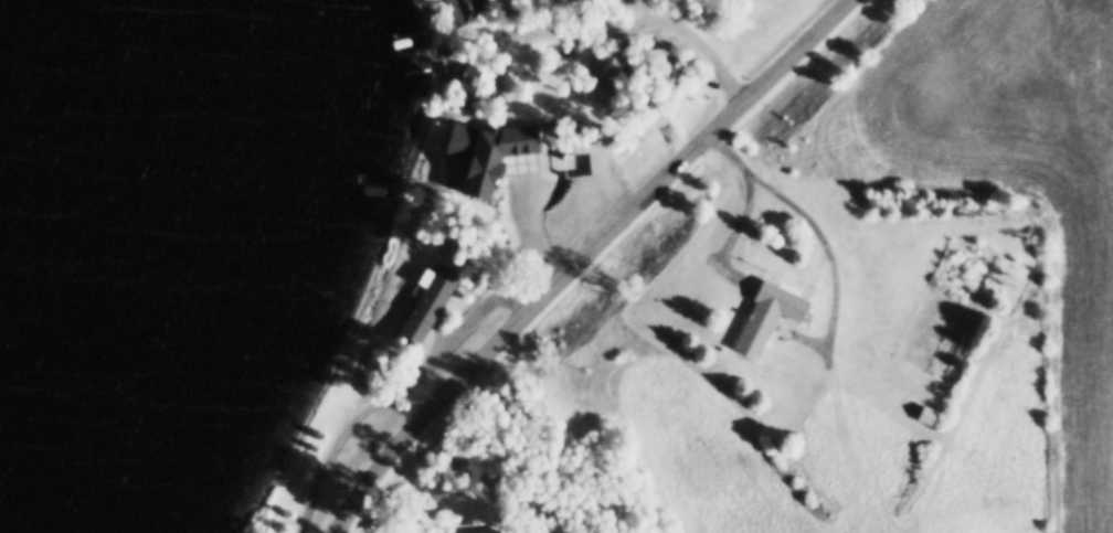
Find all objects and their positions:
road: (651, 6)
building: (462, 8)
road: (642, 10)
building: (606, 56)
building: (478, 77)
building: (453, 160)
road: (505, 163)
building: (524, 178)
road: (815, 230)
road: (587, 257)
building: (426, 300)
building: (764, 311)
building: (923, 411)
building: (467, 526)

